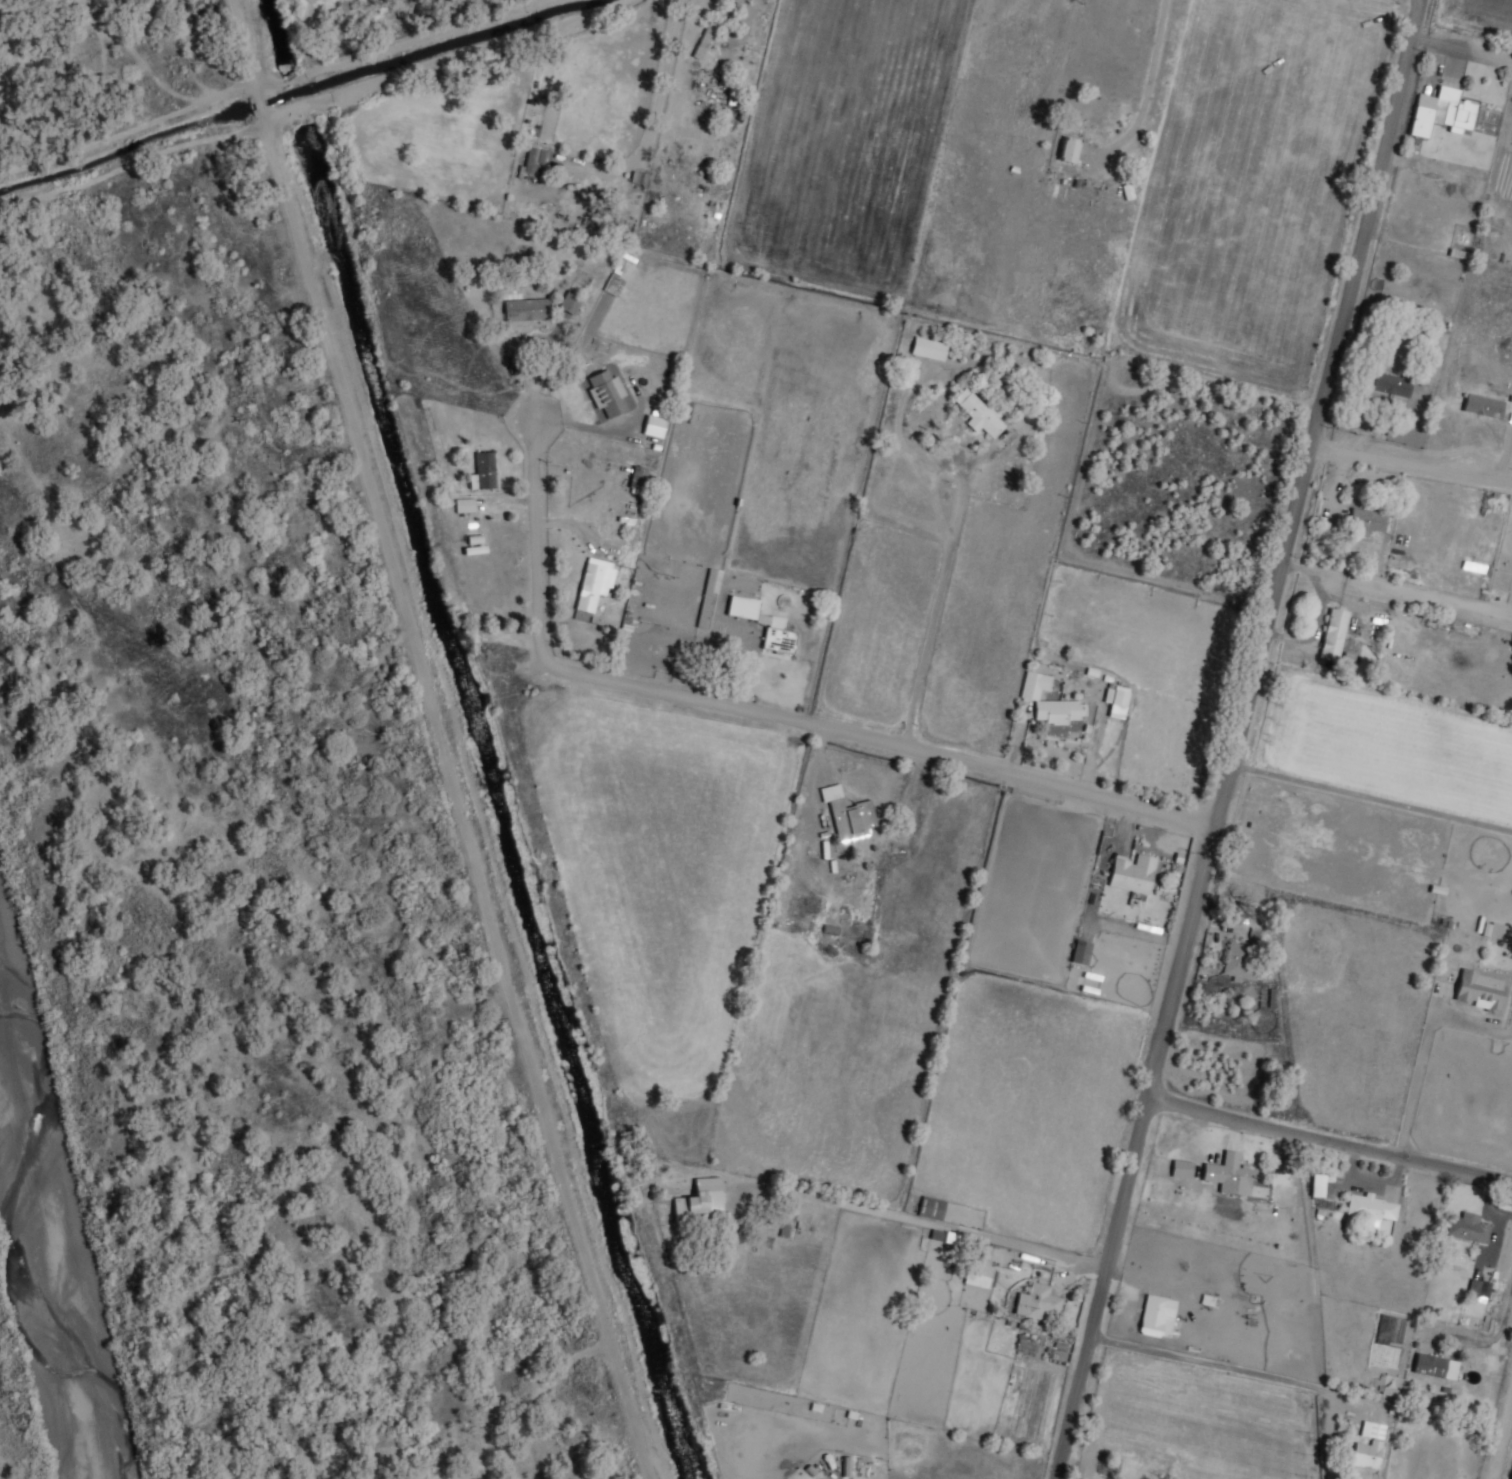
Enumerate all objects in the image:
road: (1462, 48)
road: (1159, 52)
road: (665, 72)
building: (1440, 113)
building: (1067, 150)
building: (534, 162)
building: (1457, 253)
building: (570, 302)
building: (529, 309)
building: (928, 349)
building: (1425, 376)
building: (1392, 385)
building: (610, 394)
building: (1483, 406)
building: (980, 413)
road: (1413, 462)
building: (486, 473)
building: (644, 481)
building: (464, 505)
building: (1365, 521)
building: (597, 583)
road: (1398, 590)
building: (707, 595)
building: (742, 607)
road: (936, 616)
building: (1333, 636)
building: (782, 637)
building: (1119, 696)
building: (1050, 703)
road: (764, 714)
road: (1243, 740)
road: (1374, 800)
building: (846, 815)
building: (910, 827)
building: (1131, 874)
building: (829, 929)
building: (1500, 932)
building: (1080, 952)
building: (1238, 963)
building: (1479, 990)
road: (1425, 1049)
road: (1330, 1142)
building: (1181, 1169)
building: (1229, 1174)
building: (1317, 1185)
building: (702, 1200)
building: (930, 1208)
building: (1372, 1209)
road: (932, 1221)
building: (1469, 1227)
river: (41, 1259)
building: (979, 1273)
building: (1478, 1289)
building: (1038, 1303)
building: (1156, 1315)
building: (1232, 1340)
building: (1435, 1366)
road: (1501, 1442)
building: (1367, 1454)

